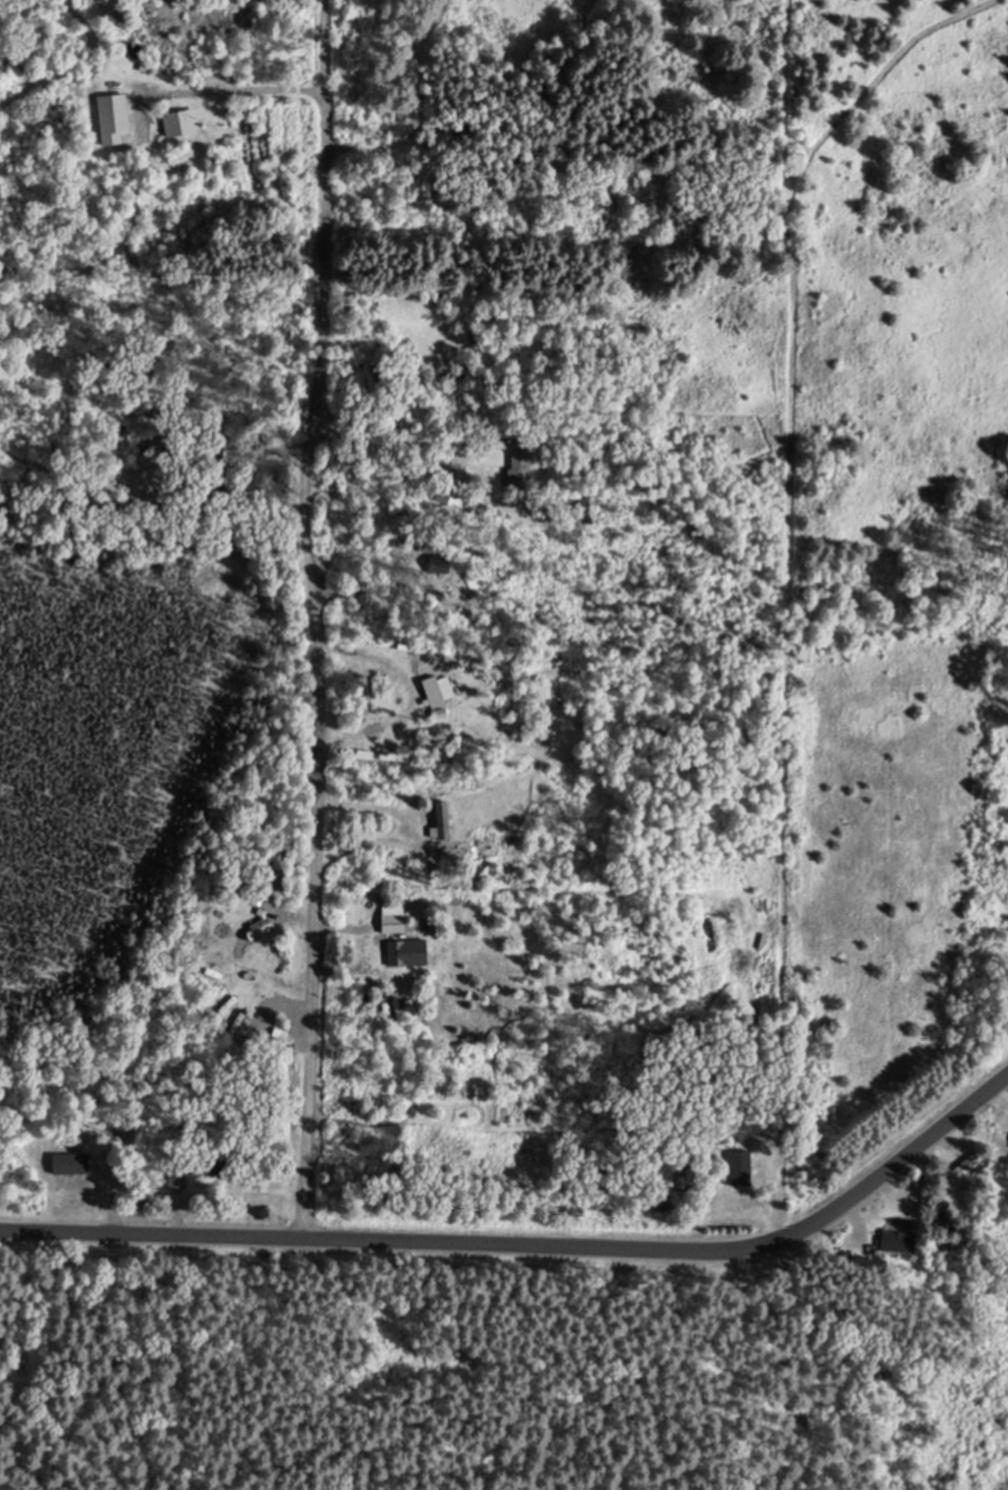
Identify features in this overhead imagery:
building: (182, 123)
building: (455, 376)
building: (520, 465)
road: (317, 616)
building: (434, 690)
building: (446, 819)
building: (395, 922)
building: (398, 952)
building: (963, 1167)
building: (76, 1177)
building: (177, 1179)
building: (686, 1179)
building: (897, 1243)
road: (532, 1244)

